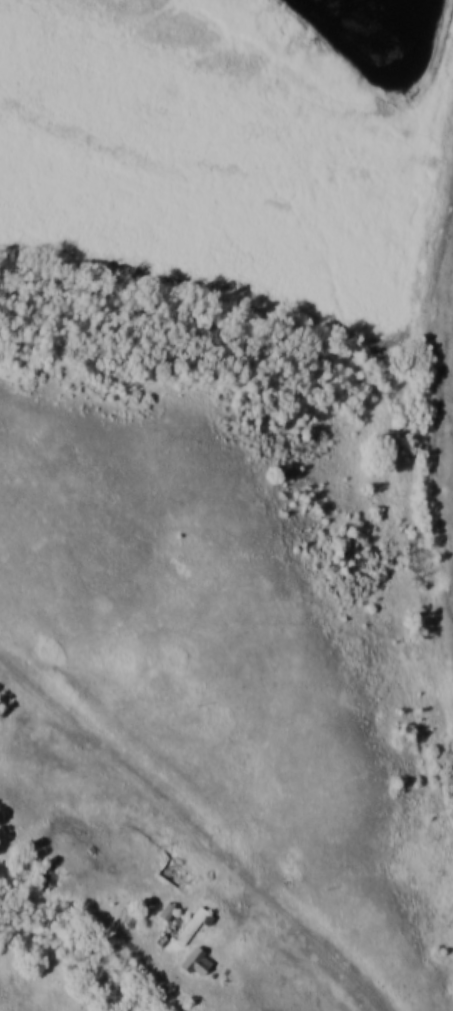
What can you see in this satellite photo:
building: (23, 865)
building: (176, 873)
building: (166, 913)
road: (285, 917)
building: (130, 919)
building: (195, 924)
building: (197, 961)

